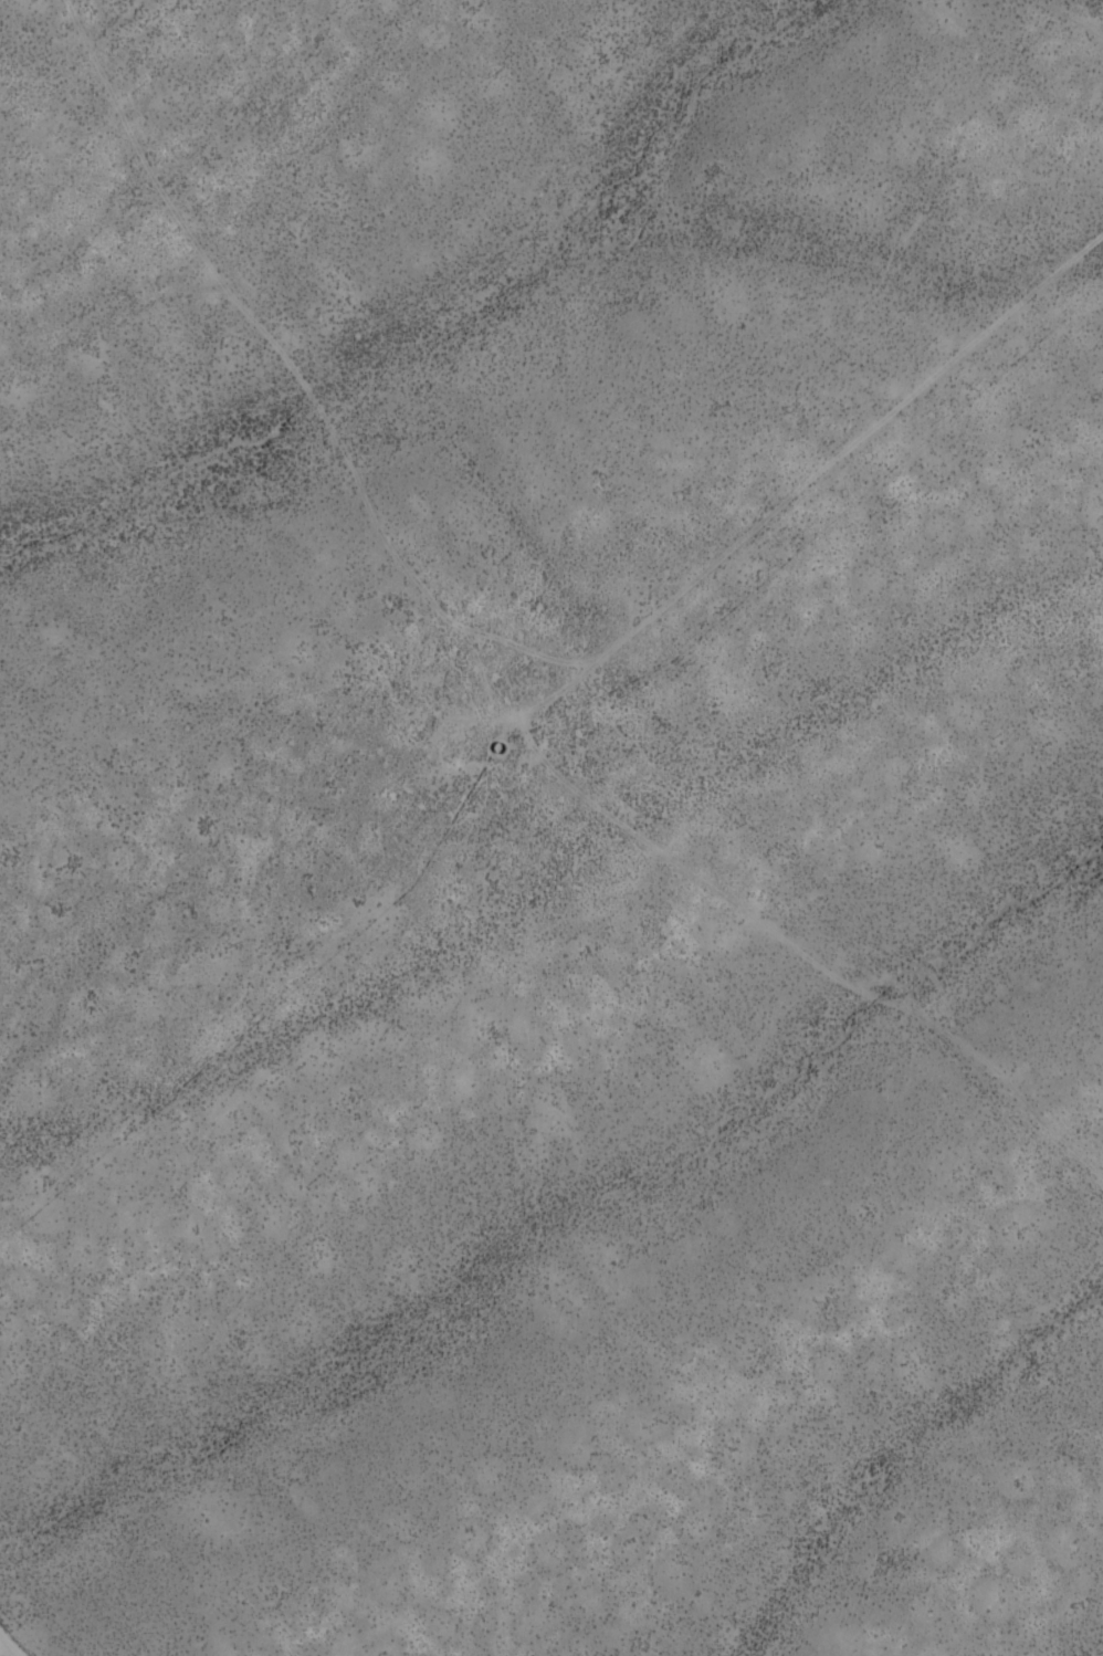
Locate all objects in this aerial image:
road: (827, 465)
road: (7, 1647)

